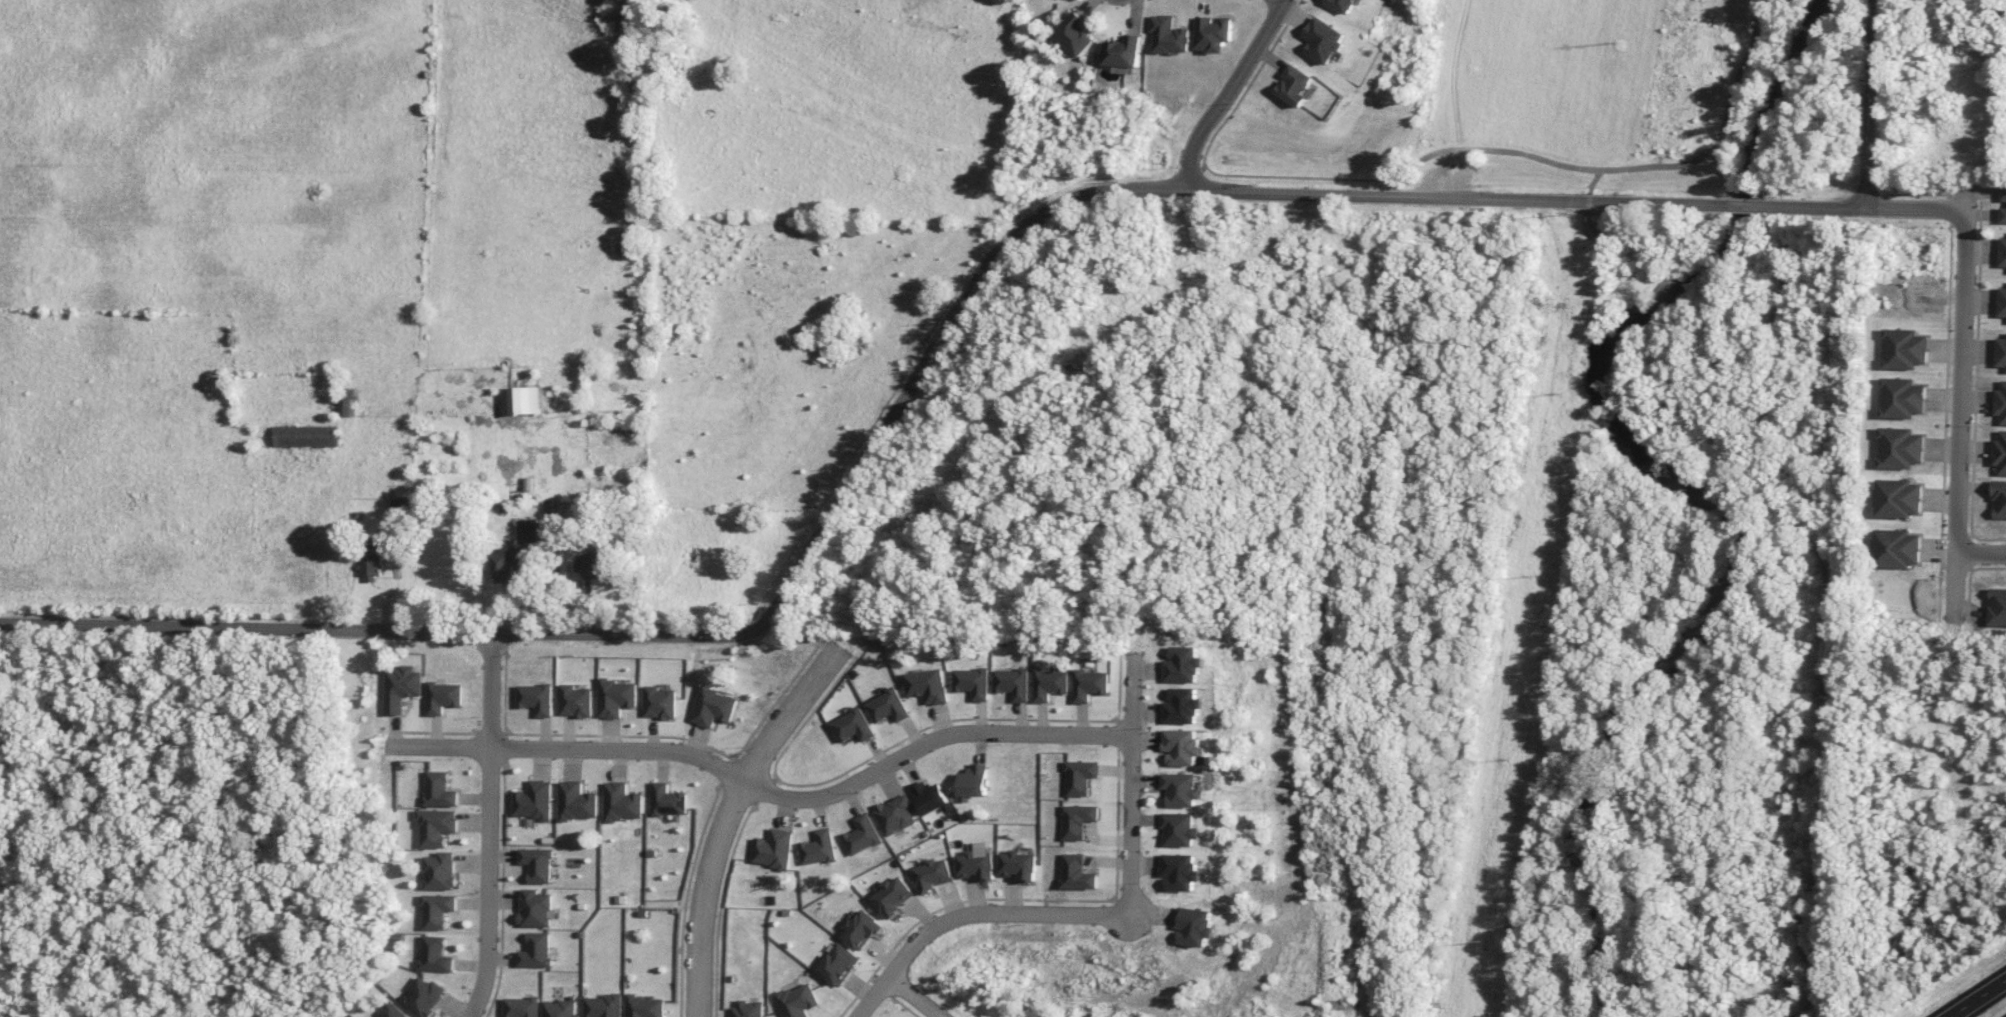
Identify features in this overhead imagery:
building: (1342, 5)
building: (1211, 33)
building: (1073, 34)
building: (1168, 35)
building: (1323, 40)
building: (1122, 53)
building: (1295, 85)
road: (1228, 90)
road: (1872, 104)
road: (1721, 131)
road: (1482, 149)
building: (2003, 193)
road: (1916, 210)
building: (2003, 215)
road: (1743, 219)
road: (1627, 239)
building: (2002, 252)
building: (2002, 301)
building: (1904, 348)
building: (2001, 352)
road: (914, 388)
building: (1902, 398)
building: (520, 400)
road: (1959, 402)
building: (2001, 403)
building: (346, 404)
building: (307, 436)
building: (1900, 448)
building: (2000, 453)
river: (1686, 479)
building: (1899, 498)
building: (1999, 499)
building: (401, 507)
building: (529, 531)
building: (1897, 548)
road: (1980, 553)
building: (372, 560)
building: (508, 564)
building: (598, 568)
road: (1825, 605)
building: (1997, 607)
building: (1181, 664)
building: (972, 682)
building: (1012, 683)
building: (1048, 684)
building: (927, 685)
building: (1088, 685)
building: (401, 687)
building: (444, 697)
building: (616, 697)
building: (537, 698)
building: (576, 701)
building: (660, 702)
building: (888, 706)
building: (1180, 706)
building: (713, 707)
building: (853, 726)
building: (1180, 746)
building: (1079, 777)
building: (973, 782)
road: (1129, 784)
road: (763, 788)
building: (439, 789)
building: (1179, 789)
building: (931, 797)
building: (534, 800)
building: (667, 800)
building: (577, 801)
building: (621, 802)
building: (896, 815)
road: (728, 820)
building: (1076, 820)
road: (489, 826)
building: (436, 827)
building: (1177, 829)
building: (862, 835)
building: (819, 848)
building: (773, 849)
building: (537, 864)
building: (975, 865)
building: (1017, 865)
building: (439, 871)
building: (1075, 872)
building: (1177, 872)
building: (933, 874)
building: (893, 895)
building: (534, 908)
building: (437, 910)
road: (970, 912)
building: (1193, 926)
building: (861, 929)
power tower: (1483, 937)
building: (536, 950)
building: (435, 954)
building: (838, 964)
building: (423, 996)
road: (914, 997)
road: (1975, 997)
building: (797, 1000)
building: (602, 1006)
building: (644, 1006)
building: (521, 1007)
building: (559, 1009)
building: (748, 1009)
building: (392, 1011)

